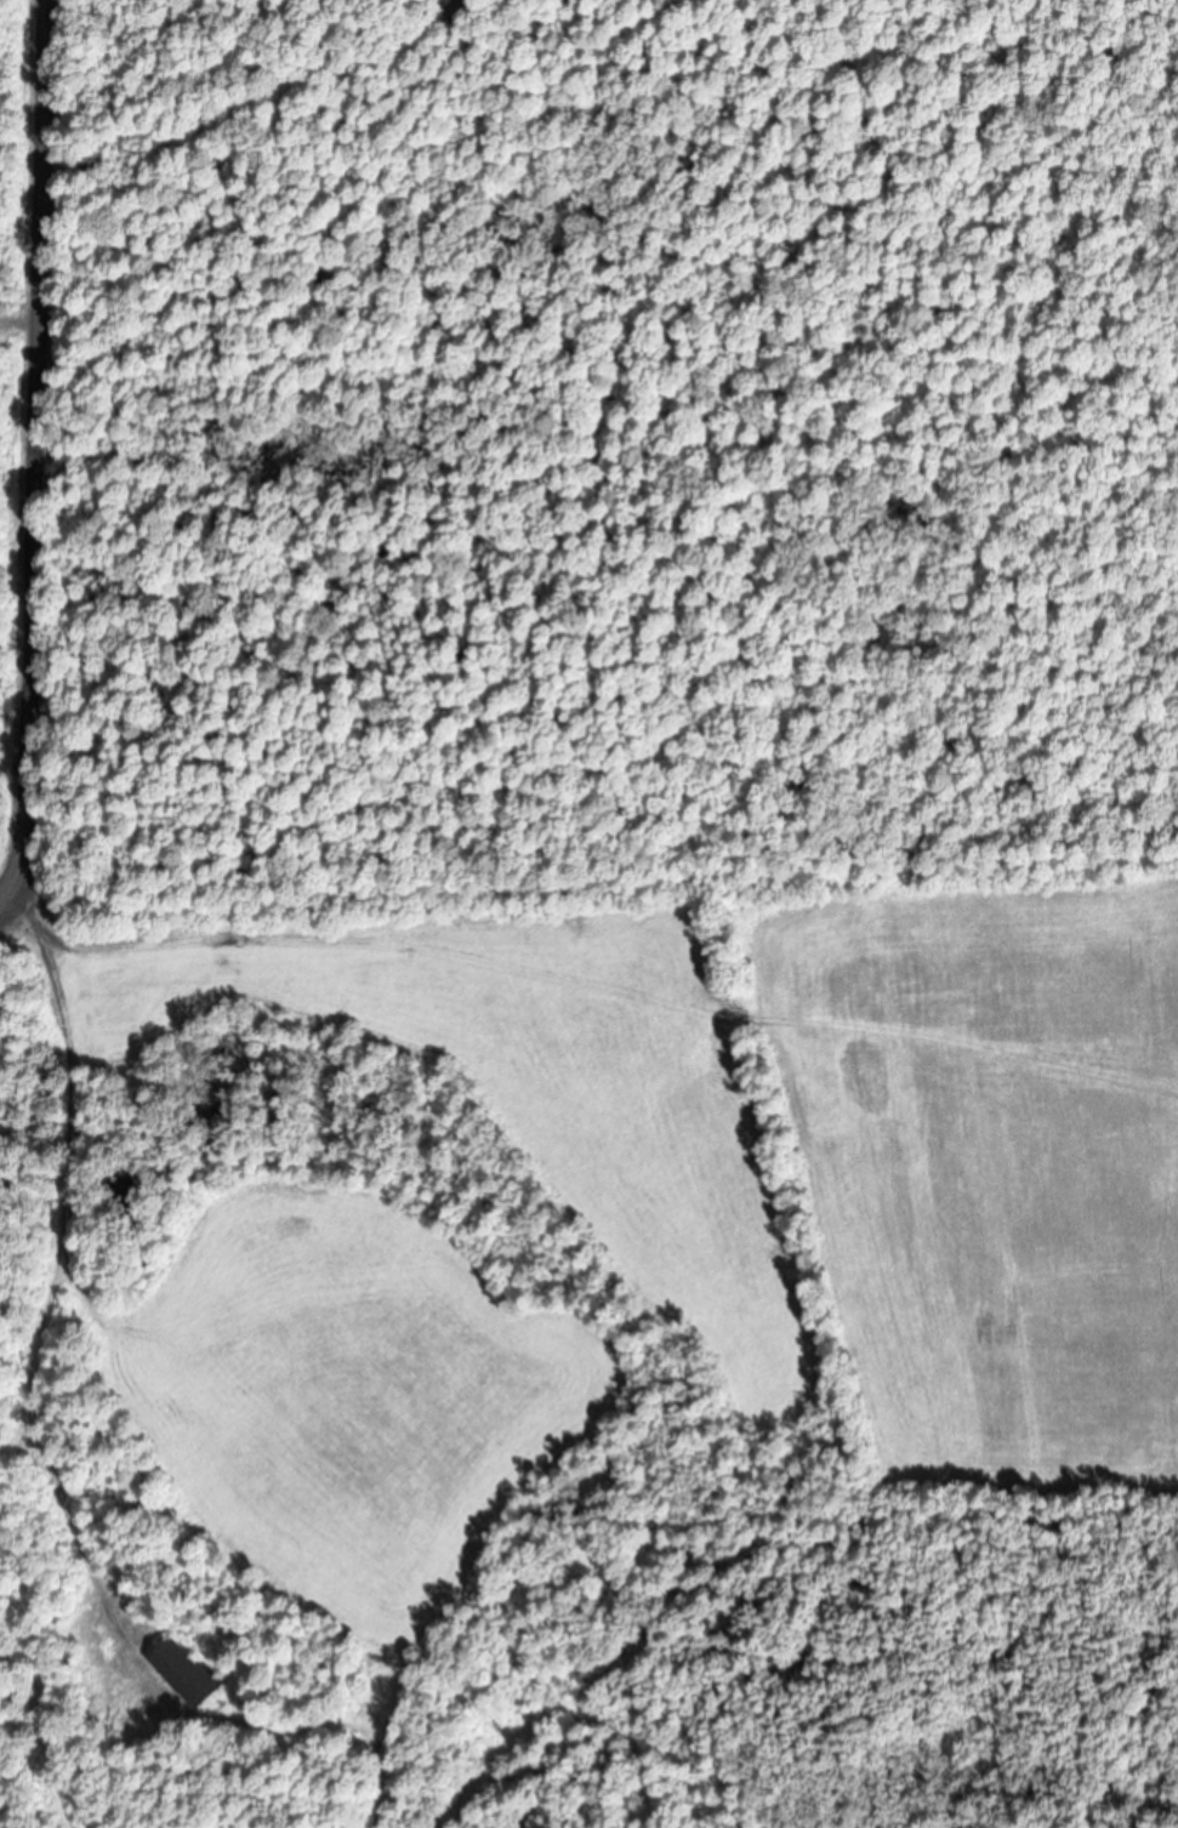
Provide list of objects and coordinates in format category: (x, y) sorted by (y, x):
road: (35, 432)
building: (193, 1675)

